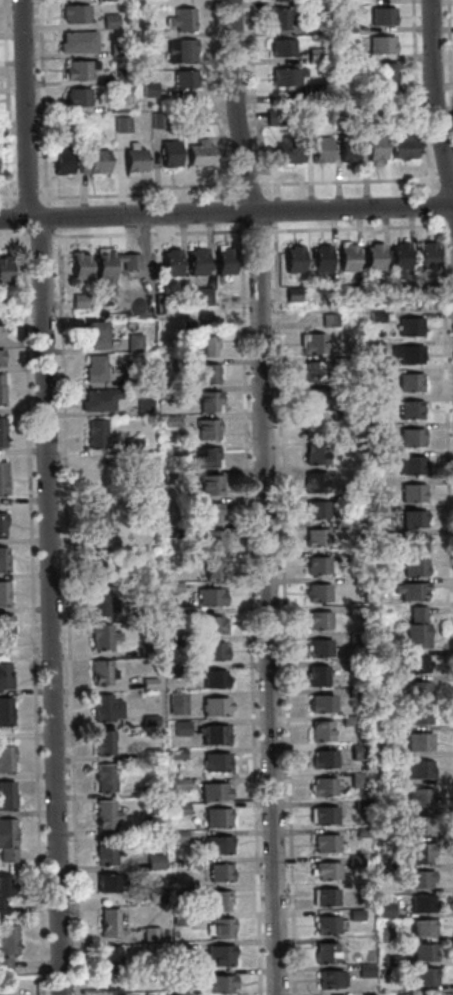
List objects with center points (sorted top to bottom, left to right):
building: (313, 2)
building: (74, 13)
building: (380, 15)
building: (279, 17)
building: (180, 19)
building: (109, 21)
building: (345, 27)
building: (313, 28)
building: (145, 32)
building: (77, 41)
building: (379, 44)
building: (280, 47)
building: (115, 48)
building: (179, 50)
building: (138, 52)
building: (344, 53)
building: (313, 54)
road: (449, 56)
building: (78, 69)
building: (384, 73)
building: (121, 76)
building: (285, 76)
building: (183, 78)
building: (313, 88)
building: (148, 89)
road: (433, 95)
building: (76, 96)
road: (414, 98)
road: (215, 99)
road: (251, 100)
road: (6, 103)
road: (41, 103)
building: (116, 106)
building: (365, 107)
road: (23, 109)
building: (402, 113)
building: (190, 117)
building: (274, 117)
building: (157, 120)
building: (120, 124)
building: (0, 129)
building: (401, 145)
building: (373, 147)
building: (346, 148)
building: (319, 149)
building: (287, 150)
building: (168, 153)
building: (198, 153)
building: (60, 159)
building: (91, 161)
building: (132, 161)
road: (445, 181)
road: (348, 183)
road: (247, 184)
road: (137, 193)
road: (7, 198)
road: (26, 198)
road: (437, 208)
road: (235, 211)
road: (271, 212)
road: (226, 213)
road: (50, 217)
road: (15, 218)
road: (449, 227)
road: (357, 230)
road: (256, 233)
road: (147, 234)
road: (38, 237)
road: (13, 238)
building: (425, 255)
building: (372, 257)
building: (320, 258)
building: (346, 258)
building: (398, 258)
building: (222, 259)
building: (292, 259)
building: (195, 261)
building: (169, 262)
building: (78, 265)
building: (129, 265)
building: (3, 270)
building: (406, 291)
building: (353, 292)
building: (291, 294)
building: (202, 296)
building: (78, 300)
building: (10, 302)
building: (375, 316)
building: (327, 320)
building: (408, 326)
building: (185, 327)
building: (1, 333)
building: (92, 335)
building: (132, 342)
building: (311, 343)
building: (206, 346)
building: (371, 346)
building: (407, 354)
building: (0, 360)
building: (338, 361)
building: (171, 366)
building: (93, 368)
building: (309, 371)
building: (375, 373)
building: (201, 374)
building: (128, 380)
building: (408, 381)
building: (168, 393)
building: (0, 395)
building: (313, 397)
building: (97, 399)
building: (207, 401)
building: (374, 404)
building: (143, 407)
building: (409, 410)
building: (337, 415)
building: (170, 421)
building: (311, 426)
building: (206, 429)
building: (373, 430)
building: (0, 434)
building: (96, 434)
building: (410, 437)
building: (353, 443)
building: (131, 445)
building: (174, 448)
building: (315, 454)
road: (446, 455)
building: (204, 457)
building: (375, 458)
building: (411, 465)
building: (170, 475)
building: (1, 478)
building: (312, 482)
building: (373, 484)
building: (209, 485)
building: (411, 493)
road: (262, 496)
building: (314, 510)
building: (206, 511)
building: (376, 511)
building: (412, 518)
building: (96, 522)
building: (1, 525)
building: (171, 531)
building: (376, 536)
building: (315, 538)
building: (211, 539)
building: (412, 543)
building: (352, 557)
building: (2, 559)
building: (377, 563)
building: (316, 565)
building: (101, 567)
building: (211, 567)
building: (413, 567)
building: (143, 578)
building: (376, 584)
building: (170, 587)
building: (409, 591)
building: (3, 593)
building: (316, 593)
building: (208, 597)
building: (100, 602)
road: (48, 606)
road: (248, 610)
road: (283, 610)
building: (354, 610)
road: (67, 611)
road: (30, 612)
building: (172, 614)
building: (146, 615)
building: (317, 620)
building: (208, 624)
building: (3, 625)
building: (416, 629)
building: (102, 636)
building: (356, 638)
building: (170, 641)
building: (318, 648)
building: (146, 650)
building: (211, 651)
building: (380, 658)
building: (411, 664)
building: (174, 671)
building: (101, 672)
building: (4, 676)
building: (316, 676)
building: (213, 679)
building: (383, 680)
building: (148, 683)
building: (416, 691)
building: (355, 692)
building: (176, 703)
building: (319, 704)
building: (214, 706)
building: (105, 708)
building: (4, 711)
building: (416, 716)
building: (149, 720)
building: (348, 721)
building: (381, 725)
building: (180, 727)
building: (320, 731)
building: (214, 735)
building: (103, 742)
building: (417, 742)
building: (358, 751)
building: (384, 752)
building: (150, 753)
building: (176, 753)
building: (5, 758)
building: (322, 759)
building: (214, 762)
building: (417, 769)
building: (105, 777)
building: (357, 779)
building: (178, 784)
building: (322, 786)
building: (211, 791)
building: (150, 792)
building: (6, 795)
building: (418, 797)
building: (360, 804)
building: (179, 808)
building: (104, 815)
building: (323, 816)
building: (215, 818)
building: (418, 826)
building: (151, 828)
building: (361, 831)
building: (178, 836)
building: (6, 840)
building: (324, 843)
building: (215, 845)
building: (105, 851)
building: (418, 852)
building: (153, 861)
building: (353, 861)
building: (189, 865)
building: (325, 870)
building: (218, 872)
building: (416, 879)
building: (104, 884)
building: (4, 890)
building: (184, 894)
building: (155, 896)
building: (325, 897)
building: (219, 901)
building: (419, 904)
building: (384, 911)
building: (353, 915)
building: (181, 920)
building: (107, 923)
building: (325, 925)
building: (220, 928)
building: (420, 928)
building: (386, 933)
building: (149, 934)
building: (6, 945)
building: (422, 952)
building: (325, 953)
building: (218, 955)
building: (109, 960)
building: (390, 960)
building: (364, 970)
building: (186, 974)
building: (420, 977)
building: (328, 978)
building: (218, 985)
building: (109, 986)
building: (338, 994)
building: (401, 994)
building: (443, 994)

